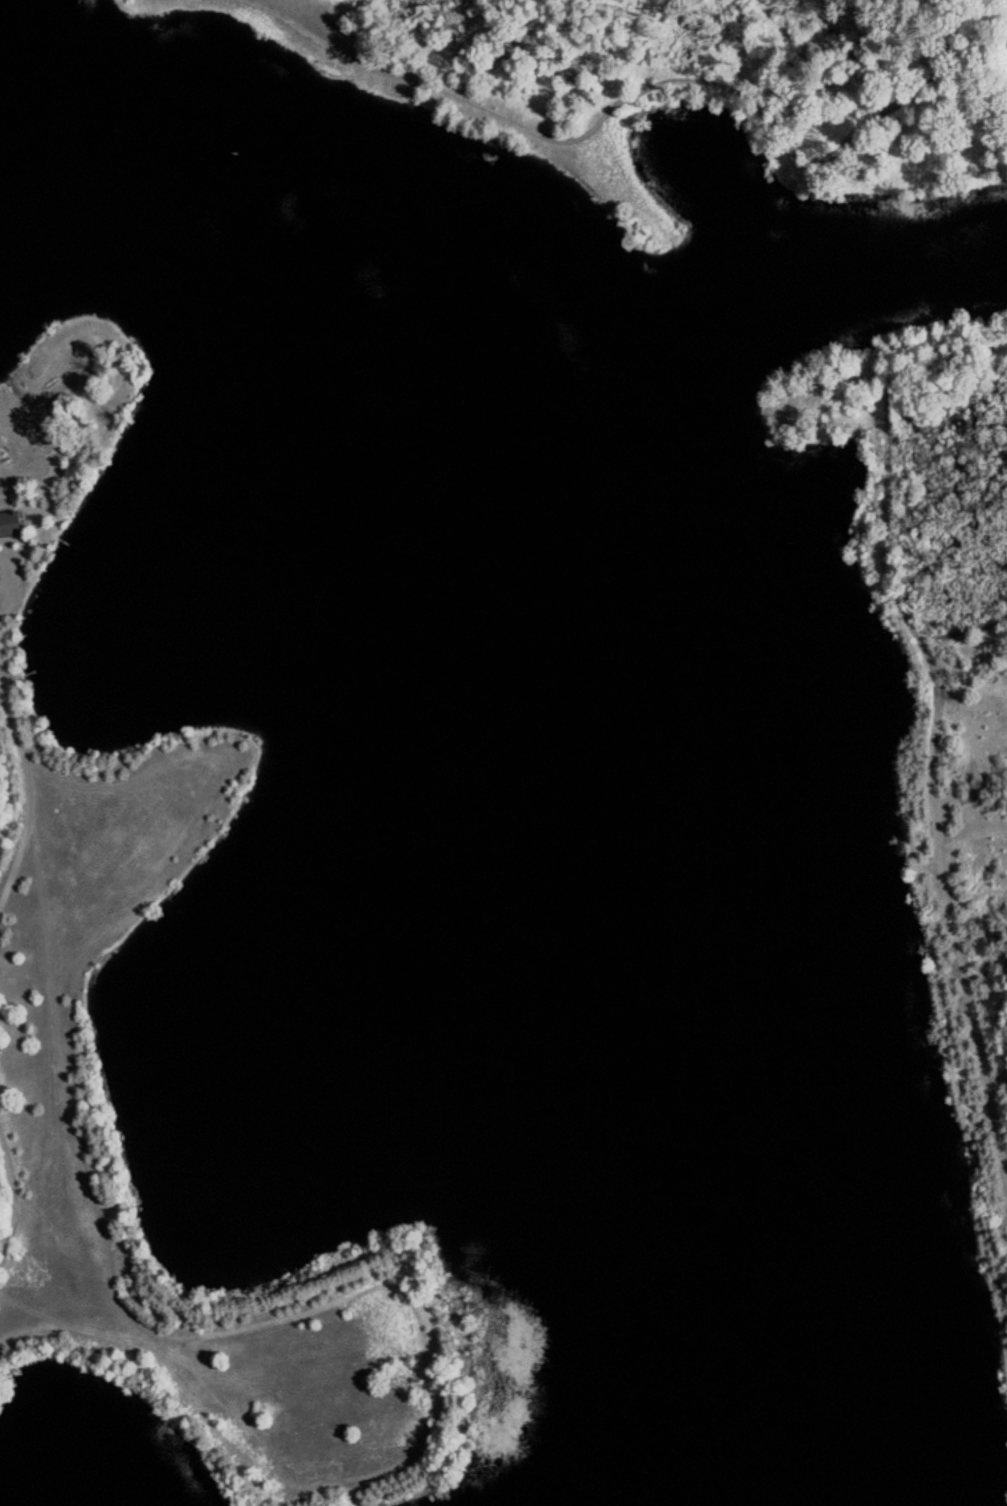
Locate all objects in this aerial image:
building: (14, 526)
road: (30, 797)
road: (2, 1152)

